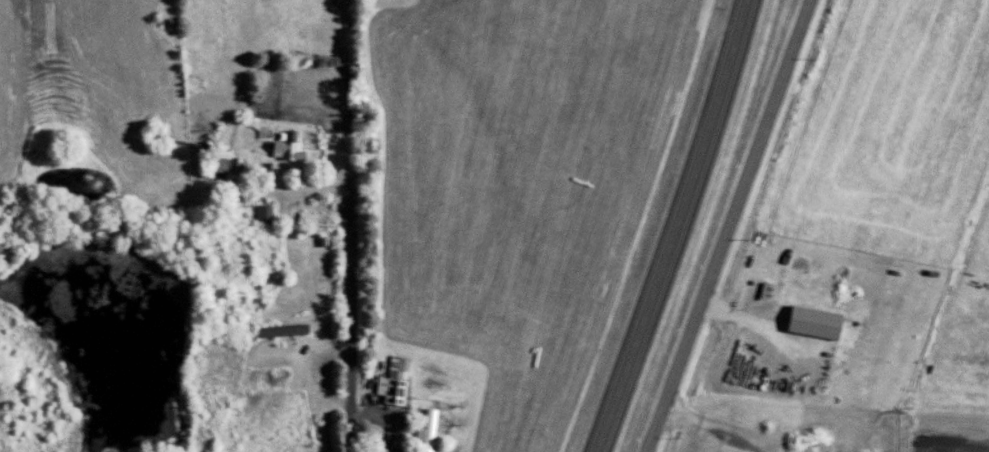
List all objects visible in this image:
building: (295, 146)
road: (293, 185)
road: (664, 226)
road: (732, 226)
road: (350, 319)
building: (823, 322)
building: (289, 330)
building: (401, 381)
road: (388, 418)
building: (435, 430)

